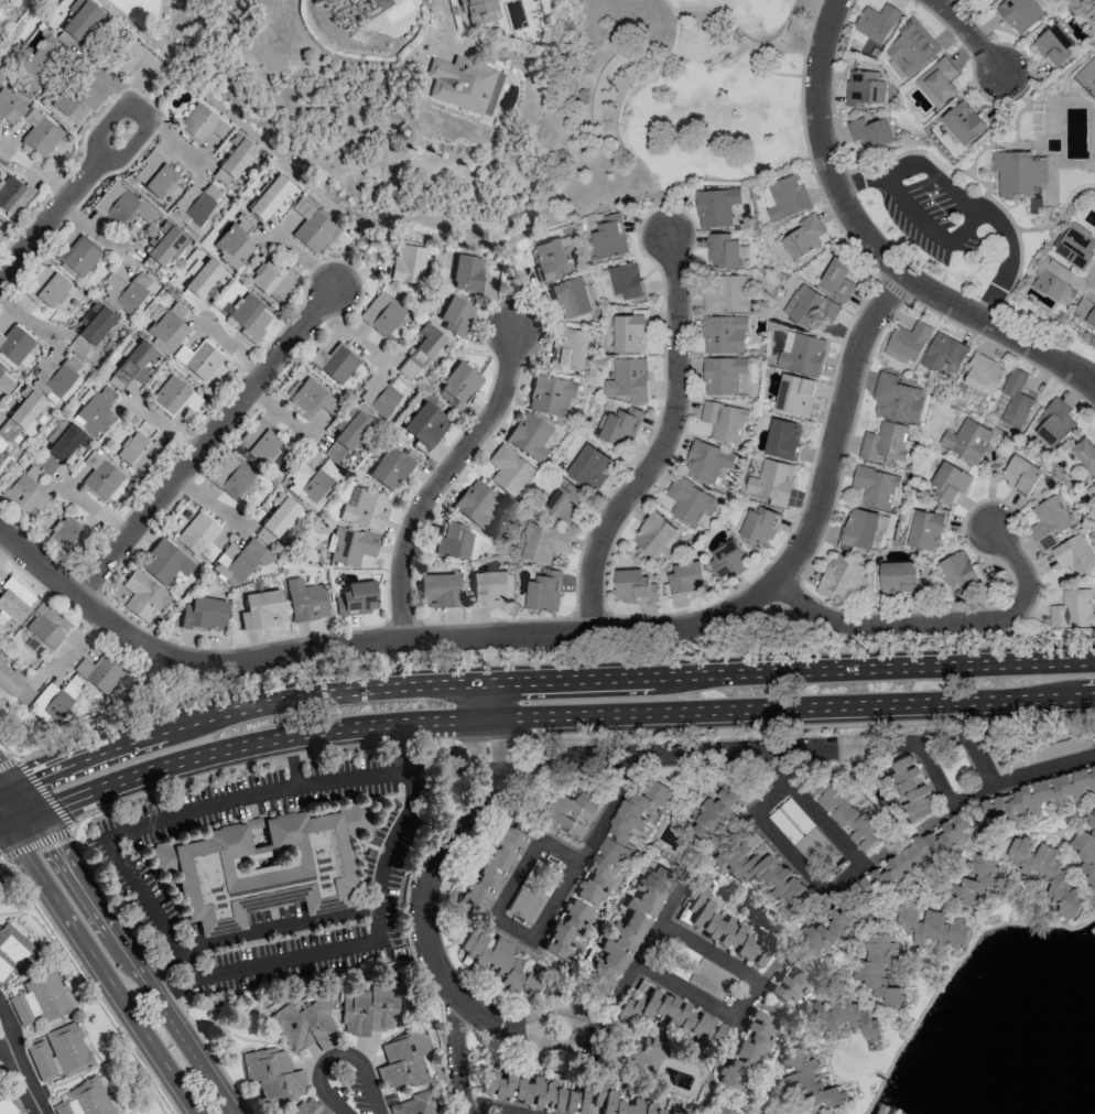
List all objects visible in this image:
road: (46, 3)
road: (54, 3)
building: (373, 6)
building: (479, 11)
road: (446, 14)
building: (1019, 14)
building: (77, 22)
building: (876, 22)
road: (159, 24)
road: (972, 33)
road: (25, 37)
road: (742, 39)
building: (1053, 45)
building: (910, 48)
building: (135, 58)
building: (40, 63)
road: (768, 72)
building: (937, 82)
building: (463, 84)
building: (864, 88)
road: (159, 94)
park: (676, 96)
building: (76, 100)
building: (11, 105)
road: (1026, 107)
road: (620, 110)
building: (964, 122)
building: (202, 123)
building: (40, 133)
building: (870, 133)
building: (234, 159)
building: (155, 174)
building: (1020, 176)
building: (13, 195)
building: (271, 196)
building: (787, 197)
road: (68, 202)
road: (967, 202)
building: (121, 204)
building: (196, 205)
building: (715, 207)
parking lot: (933, 210)
road: (1055, 217)
building: (311, 226)
building: (2, 229)
road: (930, 230)
road: (427, 237)
building: (803, 237)
building: (608, 238)
building: (235, 241)
building: (163, 242)
road: (872, 245)
building: (1074, 246)
building: (724, 251)
road: (856, 251)
building: (77, 256)
road: (357, 259)
building: (551, 259)
building: (406, 263)
building: (467, 273)
building: (204, 275)
road: (2, 277)
building: (272, 278)
building: (837, 280)
building: (46, 286)
road: (509, 288)
building: (123, 292)
building: (726, 294)
building: (572, 299)
building: (811, 307)
building: (1085, 311)
building: (382, 314)
building: (456, 314)
building: (249, 316)
building: (95, 322)
building: (166, 326)
building: (629, 334)
building: (724, 334)
building: (907, 343)
building: (15, 346)
building: (570, 348)
building: (83, 350)
building: (421, 351)
building: (802, 353)
building: (944, 355)
building: (199, 358)
building: (334, 364)
building: (131, 365)
building: (983, 375)
building: (55, 376)
building: (725, 376)
building: (627, 380)
building: (4, 382)
building: (458, 386)
building: (379, 394)
building: (551, 394)
building: (795, 394)
building: (177, 397)
building: (896, 399)
building: (312, 400)
building: (1012, 400)
building: (96, 412)
building: (21, 414)
building: (724, 421)
building: (425, 424)
building: (1054, 424)
building: (621, 428)
building: (347, 433)
building: (531, 436)
building: (782, 439)
building: (967, 441)
road: (205, 442)
road: (665, 442)
building: (883, 442)
building: (260, 443)
building: (1, 444)
building: (59, 445)
building: (140, 453)
building: (0, 454)
building: (1085, 454)
building: (706, 462)
building: (392, 467)
building: (589, 467)
building: (509, 471)
building: (1021, 475)
building: (232, 476)
building: (102, 477)
road: (442, 478)
building: (1094, 480)
building: (311, 483)
building: (772, 483)
building: (950, 484)
building: (876, 487)
building: (23, 490)
building: (564, 500)
building: (687, 501)
building: (477, 505)
building: (367, 510)
road: (96, 511)
building: (277, 518)
building: (1049, 521)
building: (757, 524)
building: (926, 530)
building: (63, 531)
building: (198, 534)
building: (654, 534)
building: (84, 536)
building: (453, 540)
building: (542, 542)
building: (350, 545)
building: (1075, 556)
building: (243, 560)
building: (727, 560)
building: (164, 562)
building: (958, 571)
building: (685, 580)
building: (841, 580)
building: (900, 580)
building: (633, 586)
building: (437, 590)
building: (489, 590)
building: (543, 592)
building: (142, 596)
building: (356, 598)
building: (13, 601)
building: (305, 601)
building: (262, 609)
building: (1073, 609)
building: (205, 613)
road: (939, 623)
building: (47, 627)
road: (543, 632)
road: (538, 661)
road: (790, 672)
building: (100, 673)
building: (13, 683)
road: (486, 700)
building: (54, 703)
road: (791, 705)
road: (242, 709)
road: (252, 739)
road: (404, 742)
road: (486, 747)
building: (1036, 753)
road: (293, 759)
road: (8, 763)
road: (982, 763)
building: (952, 764)
road: (936, 776)
road: (359, 778)
road: (6, 780)
traffic signals: (12, 788)
building: (910, 788)
road: (6, 790)
road: (42, 792)
building: (1037, 797)
road: (21, 800)
road: (806, 801)
road: (199, 808)
road: (608, 809)
building: (718, 810)
building: (572, 812)
traffic signals: (30, 813)
road: (755, 813)
building: (846, 815)
road: (17, 819)
road: (1, 823)
road: (1, 825)
traffic signals: (3, 825)
building: (620, 839)
building: (805, 839)
road: (35, 843)
building: (1085, 852)
road: (791, 854)
road: (1, 855)
building: (913, 858)
building: (263, 864)
building: (491, 868)
building: (1043, 874)
building: (763, 875)
building: (976, 879)
road: (424, 883)
building: (531, 894)
building: (566, 927)
road: (165, 928)
building: (719, 928)
building: (932, 929)
building: (626, 932)
road: (530, 933)
road: (377, 939)
building: (14, 952)
road: (709, 953)
building: (811, 954)
road: (131, 963)
building: (501, 963)
road: (636, 965)
building: (691, 967)
road: (100, 969)
road: (25, 971)
building: (879, 971)
road: (762, 977)
road: (90, 983)
road: (687, 991)
building: (41, 998)
road: (556, 1006)
building: (368, 1010)
road: (80, 1012)
building: (669, 1016)
building: (847, 1018)
road: (494, 1020)
road: (48, 1026)
building: (304, 1026)
road: (12, 1030)
building: (745, 1051)
building: (59, 1052)
road: (339, 1053)
building: (642, 1054)
road: (456, 1056)
building: (403, 1060)
road: (9, 1074)
building: (273, 1074)
road: (67, 1080)
building: (809, 1081)
road: (24, 1082)
building: (532, 1092)
building: (86, 1099)
building: (621, 1103)
building: (8, 1104)
road: (140, 1105)
building: (413, 1105)
building: (308, 1106)
road: (489, 1110)
building: (719, 1111)

